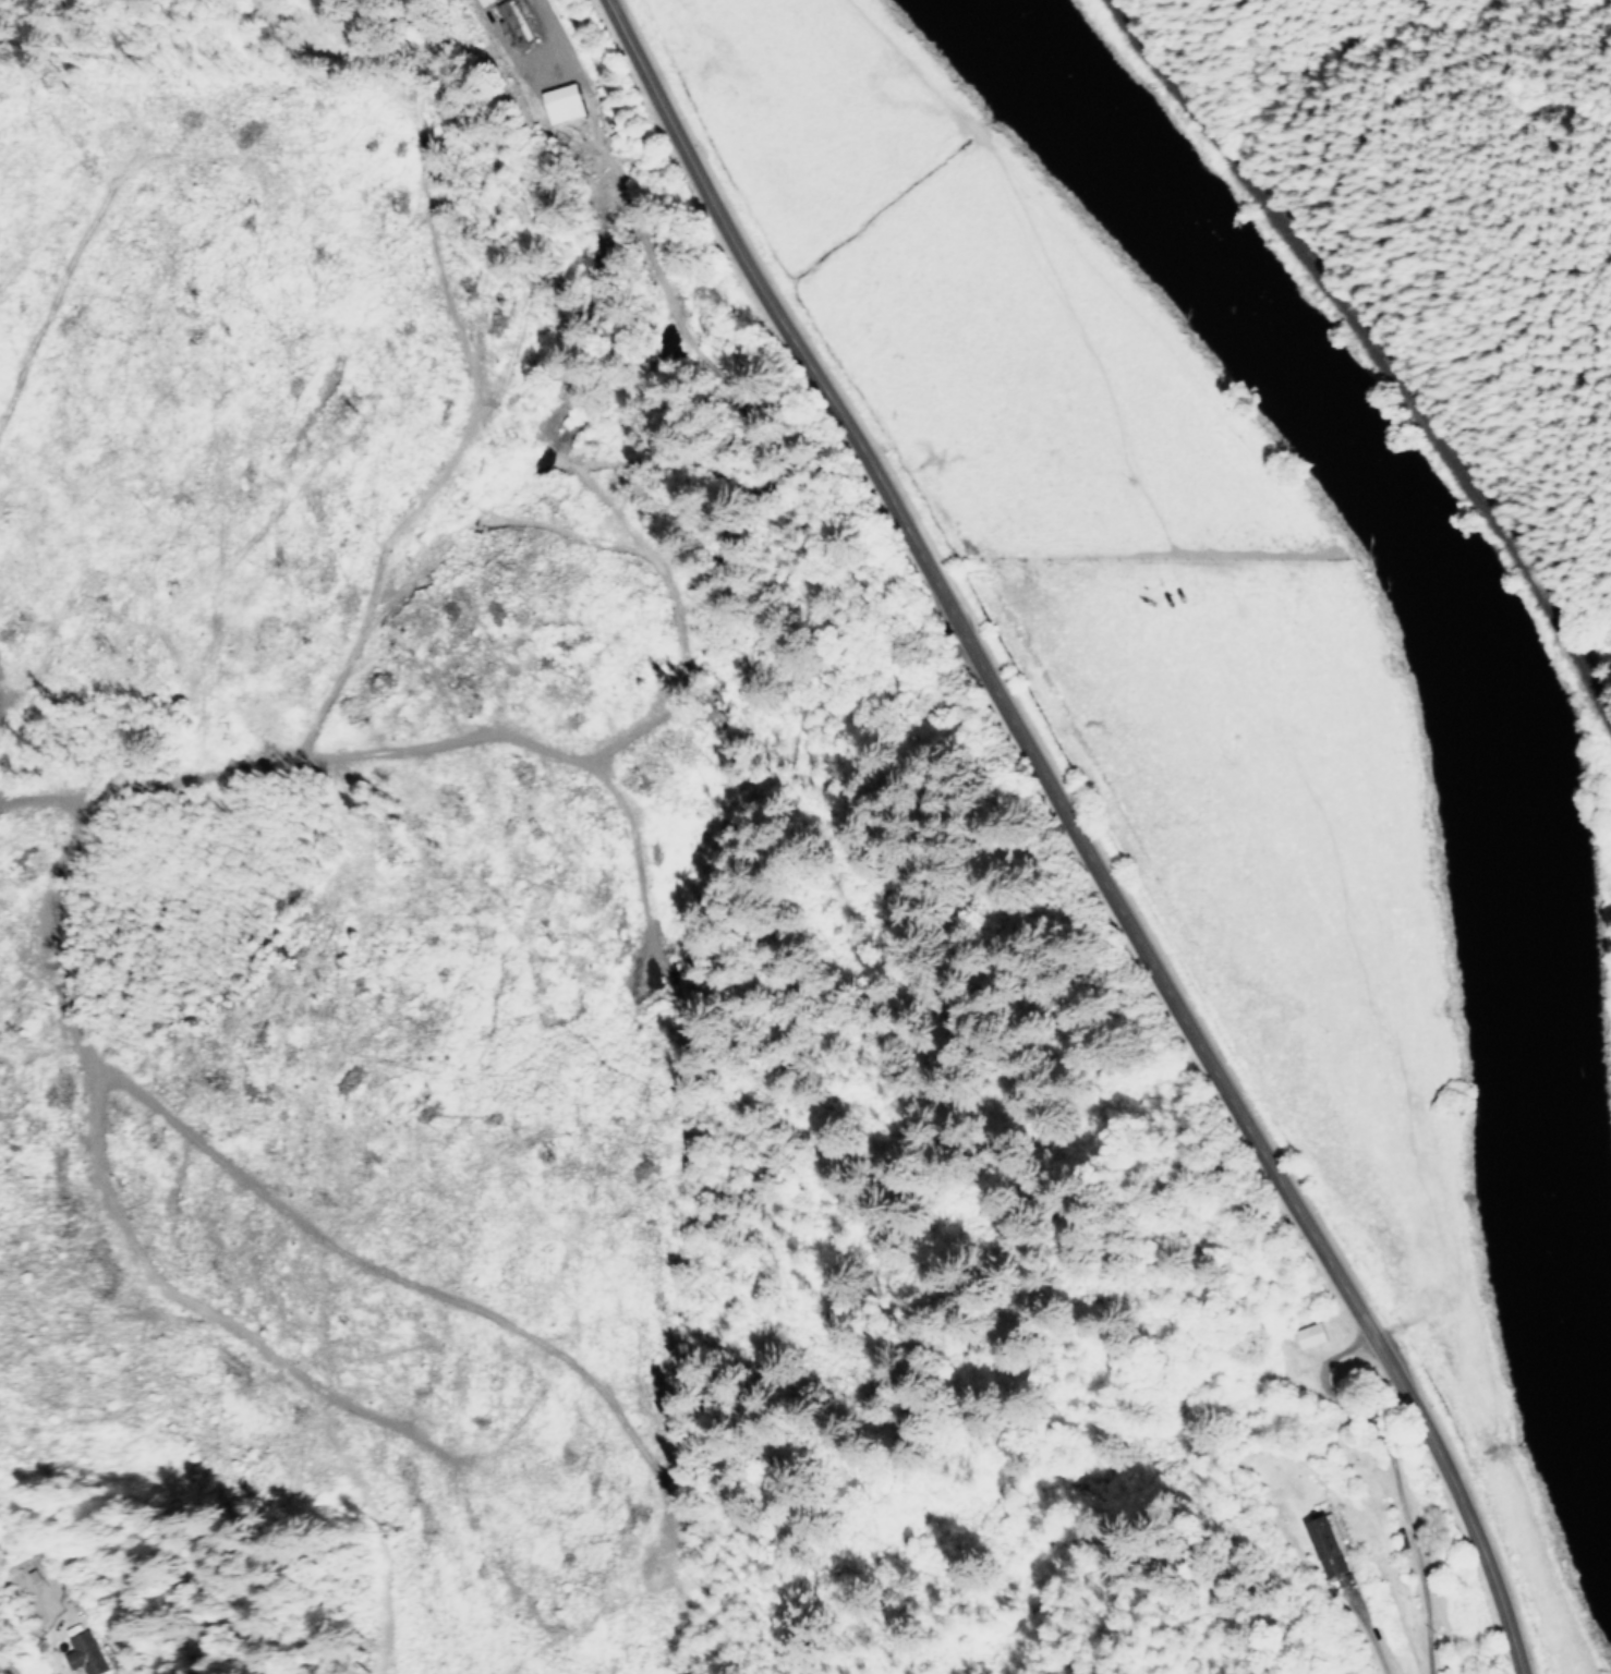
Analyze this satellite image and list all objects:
building: (560, 101)
railway: (1376, 363)
river: (1452, 622)
road: (1058, 823)
road: (19, 863)
building: (1310, 1334)
building: (1323, 1543)
building: (87, 1654)

